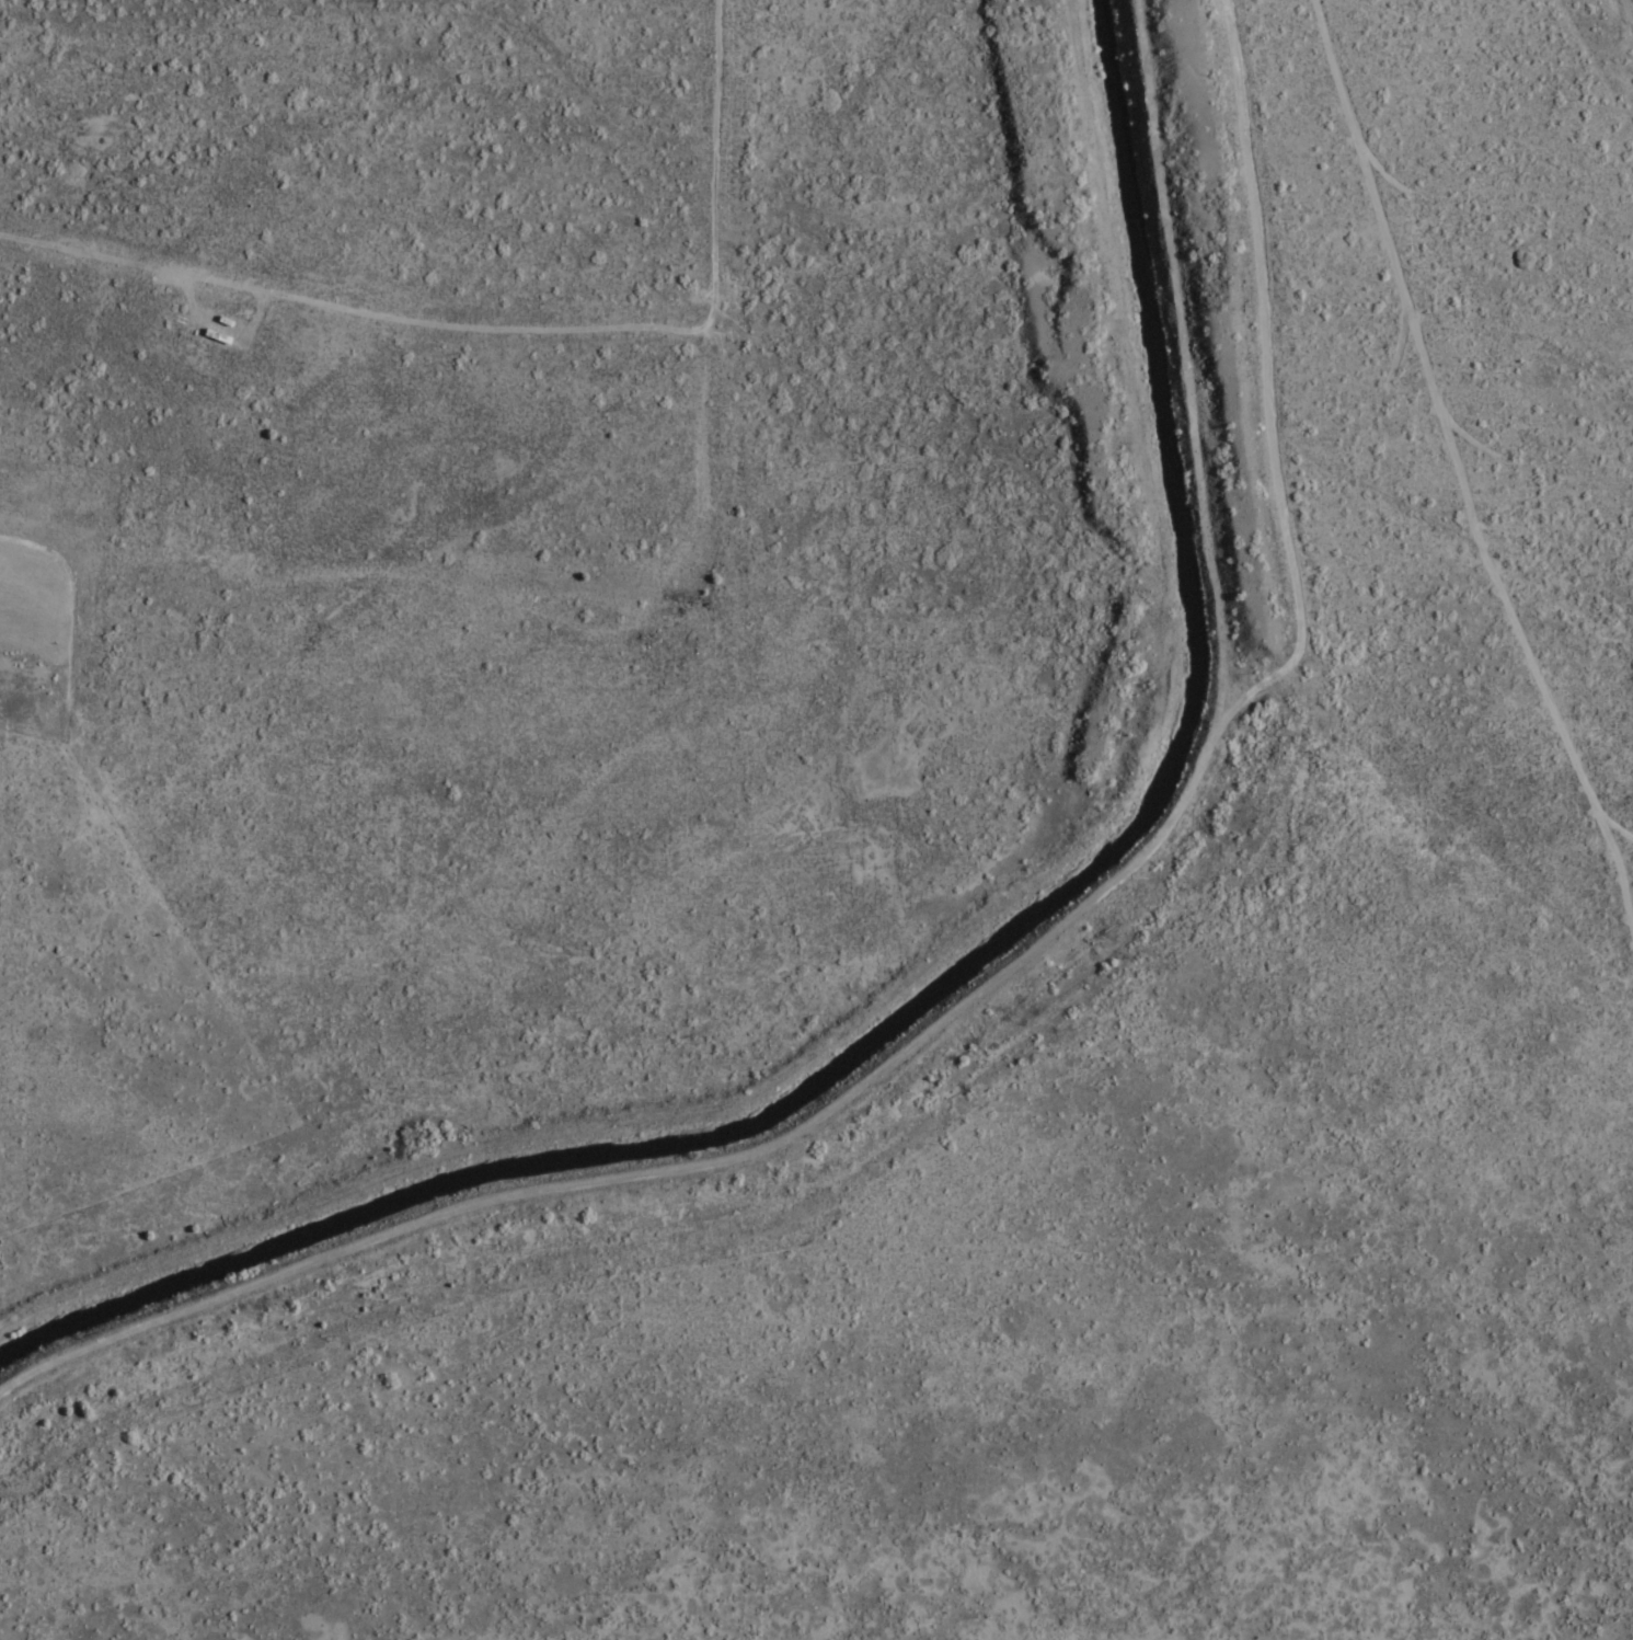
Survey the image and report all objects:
road: (352, 309)

